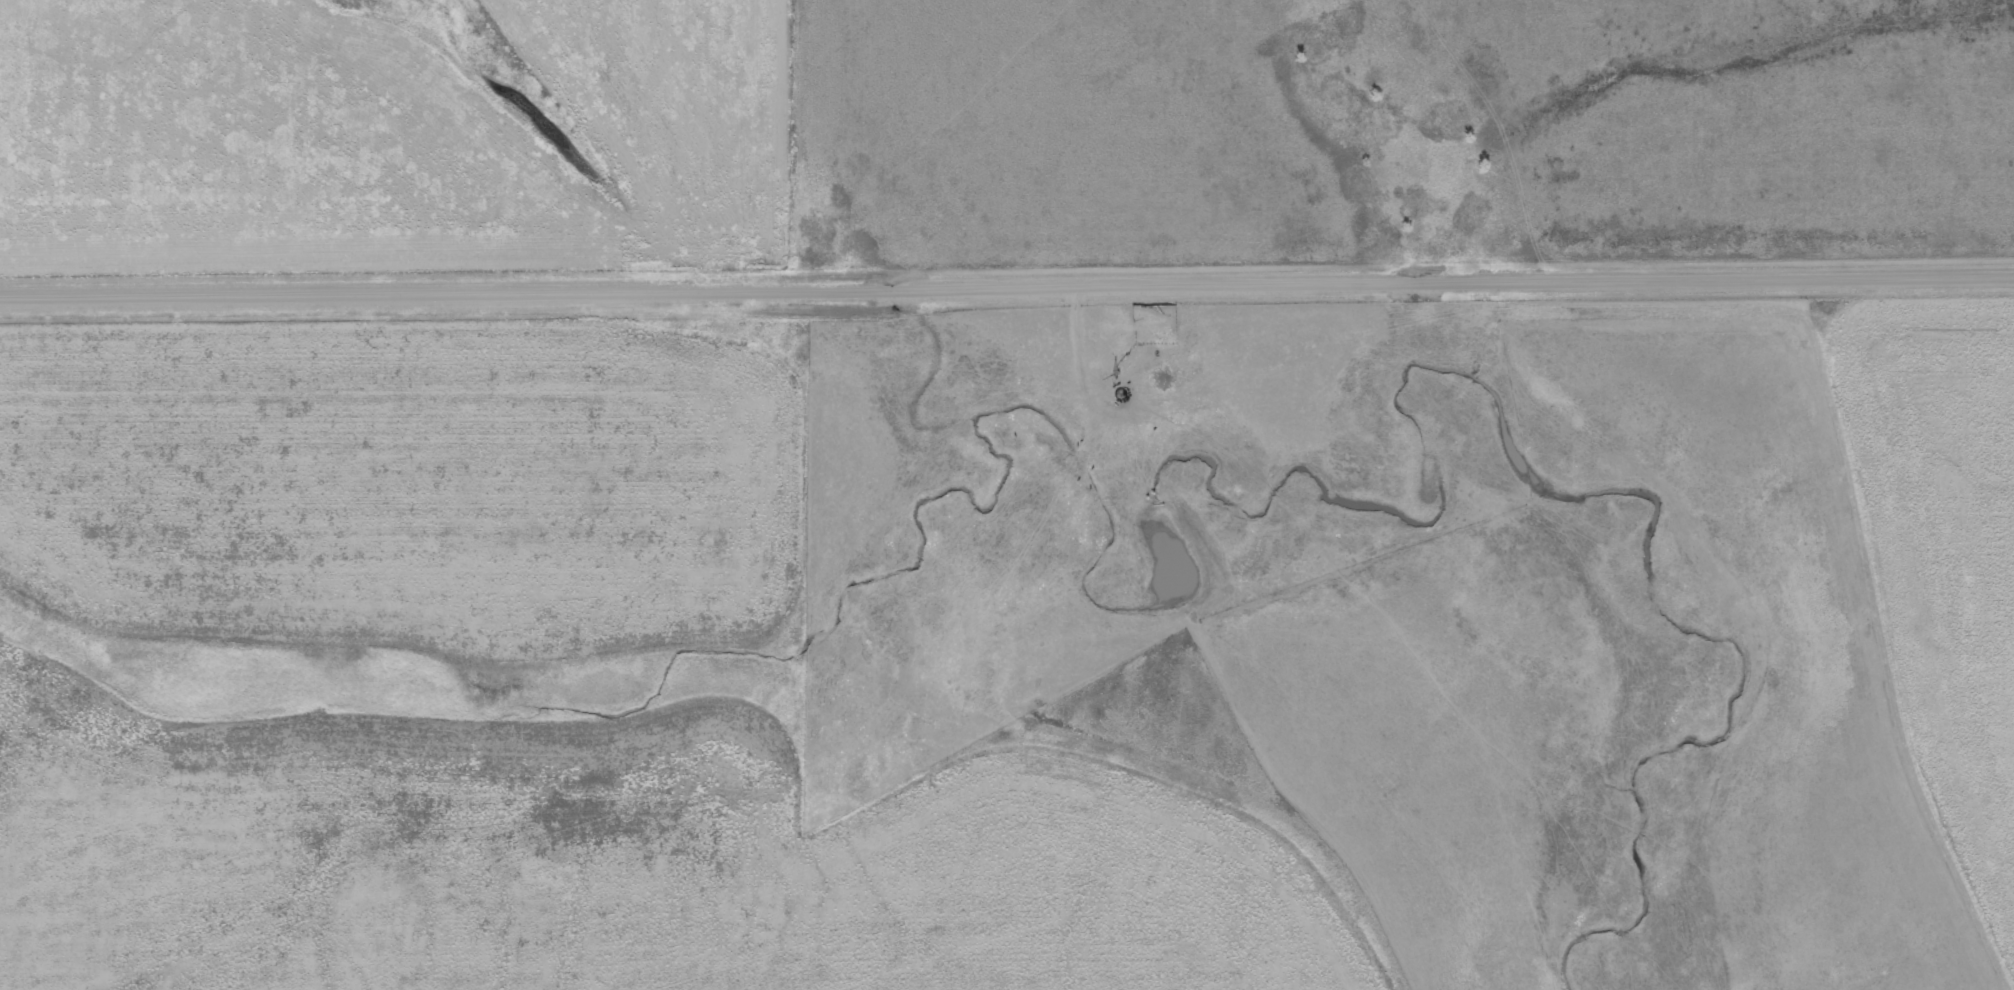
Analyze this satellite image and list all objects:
road: (1007, 285)

